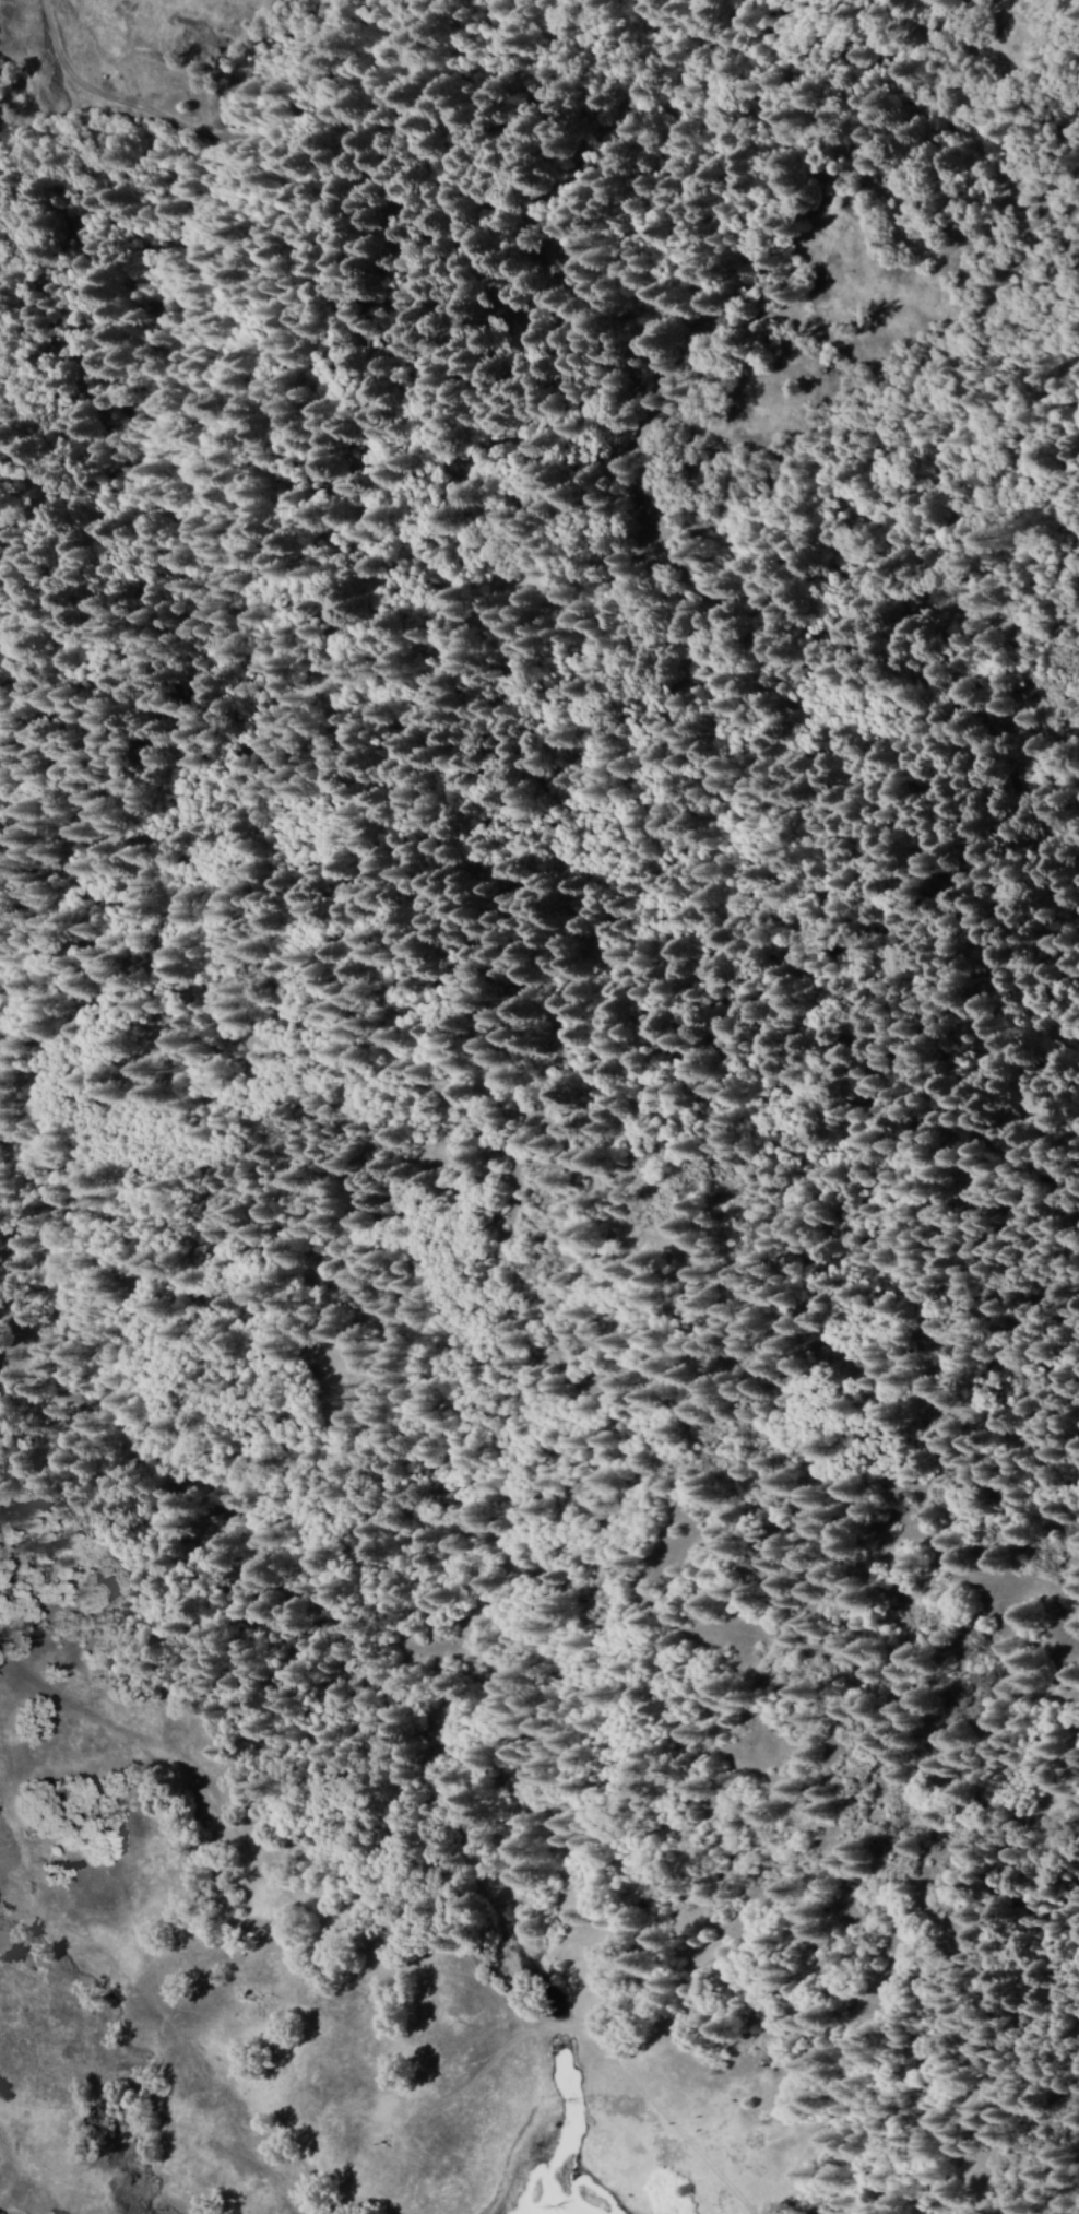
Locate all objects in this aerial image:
road: (651, 369)
road: (482, 1896)

